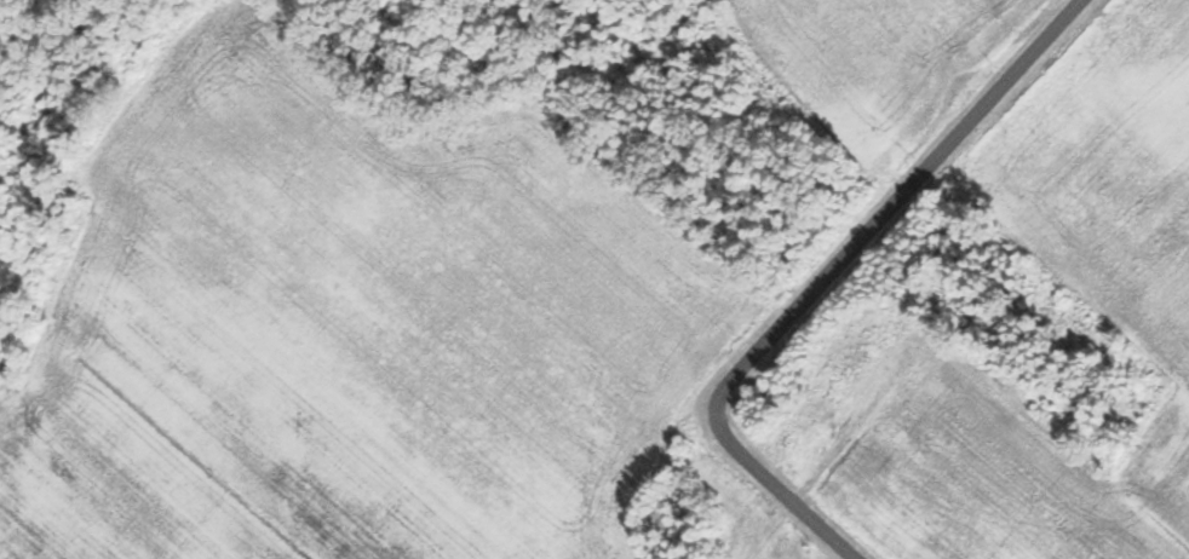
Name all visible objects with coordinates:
road: (821, 284)

